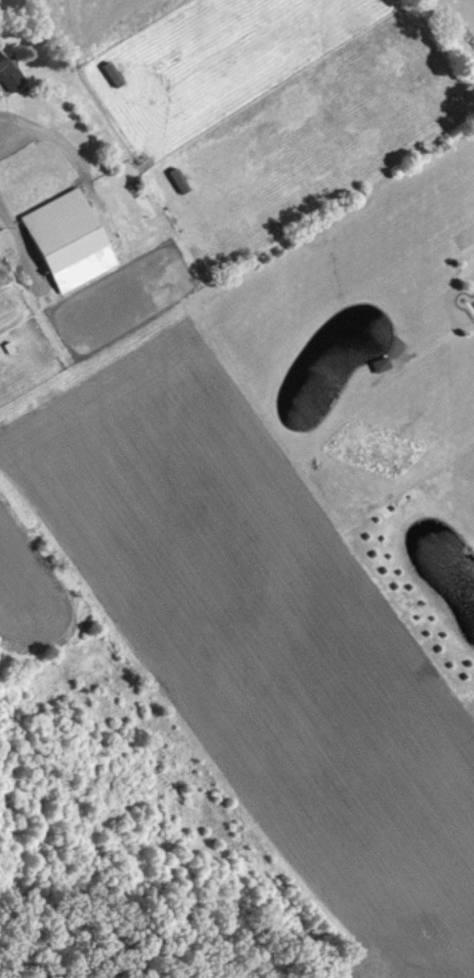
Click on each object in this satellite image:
building: (110, 73)
building: (8, 76)
road: (38, 134)
building: (176, 180)
building: (65, 241)
building: (6, 346)
building: (385, 363)

